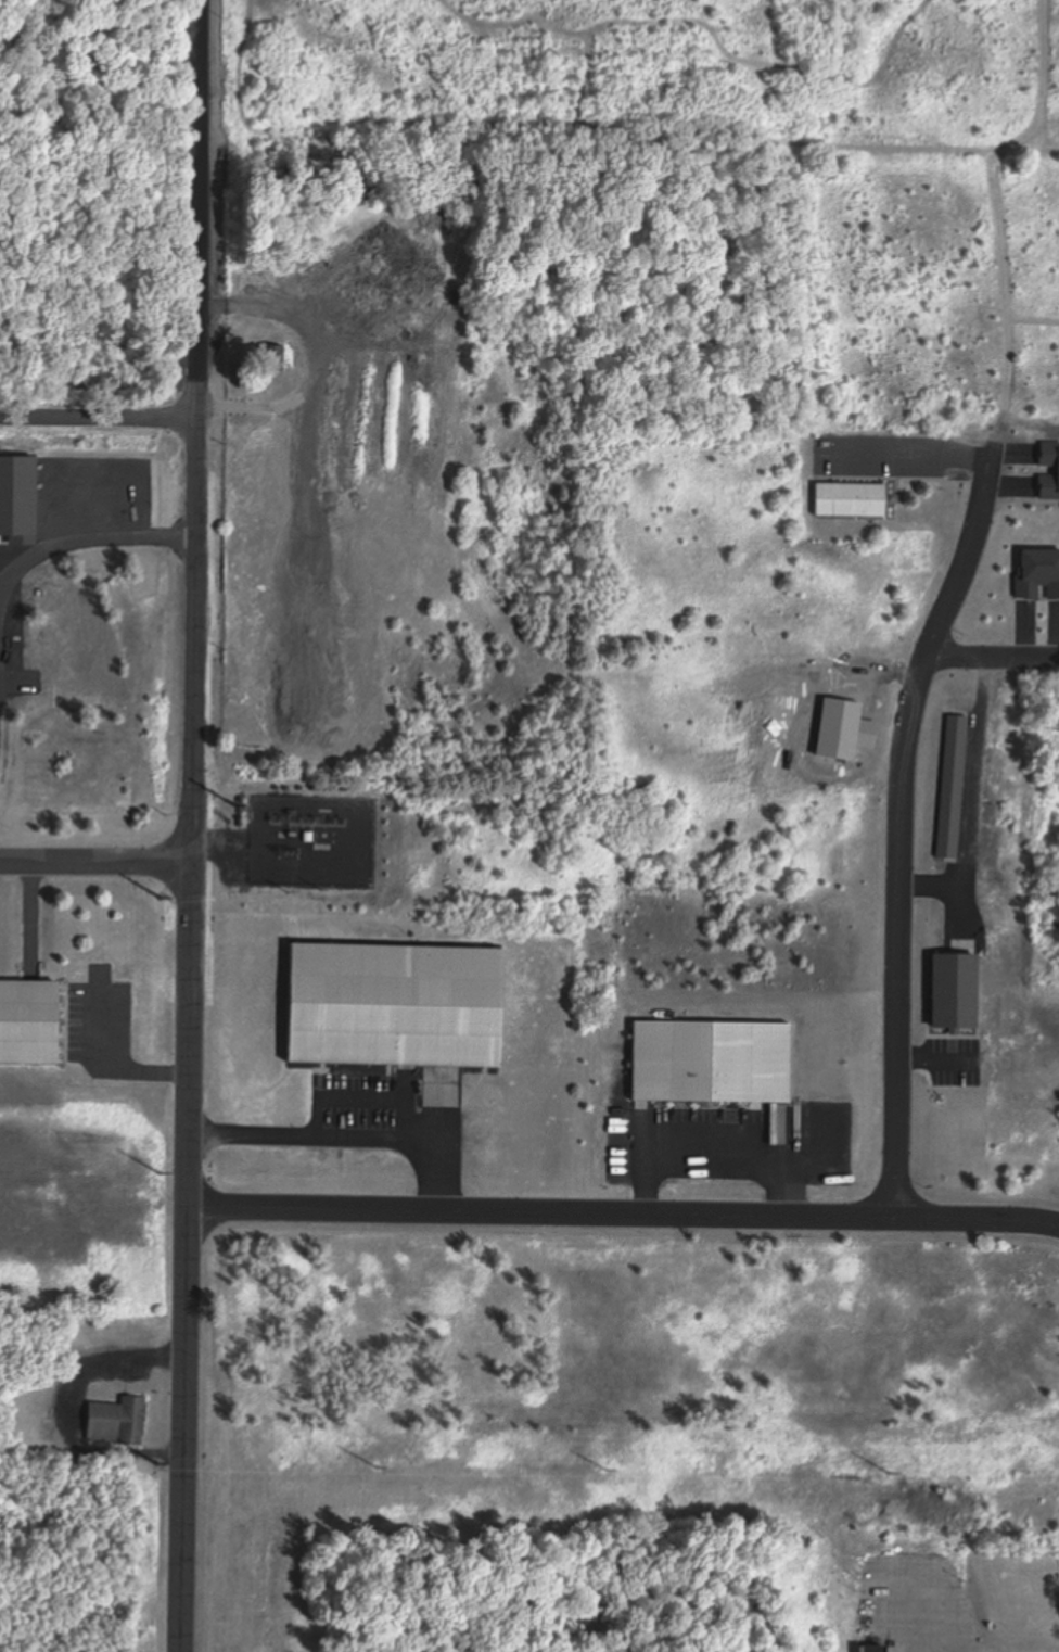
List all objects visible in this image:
building: (270, 359)
road: (98, 406)
building: (1054, 471)
building: (845, 500)
building: (1036, 574)
road: (994, 659)
park: (1050, 723)
building: (949, 789)
power tower: (233, 804)
road: (903, 819)
road: (193, 825)
power substation: (310, 839)
power substation: (310, 839)
road: (97, 859)
power tower: (291, 892)
power tower: (162, 898)
park: (1051, 899)
building: (949, 992)
building: (391, 1006)
building: (29, 1024)
building: (710, 1063)
power tower: (161, 1172)
road: (624, 1206)
building: (114, 1423)
power tower: (158, 1463)
power tower: (375, 1466)
power tower: (601, 1469)
power tower: (889, 1472)
building: (868, 1651)

